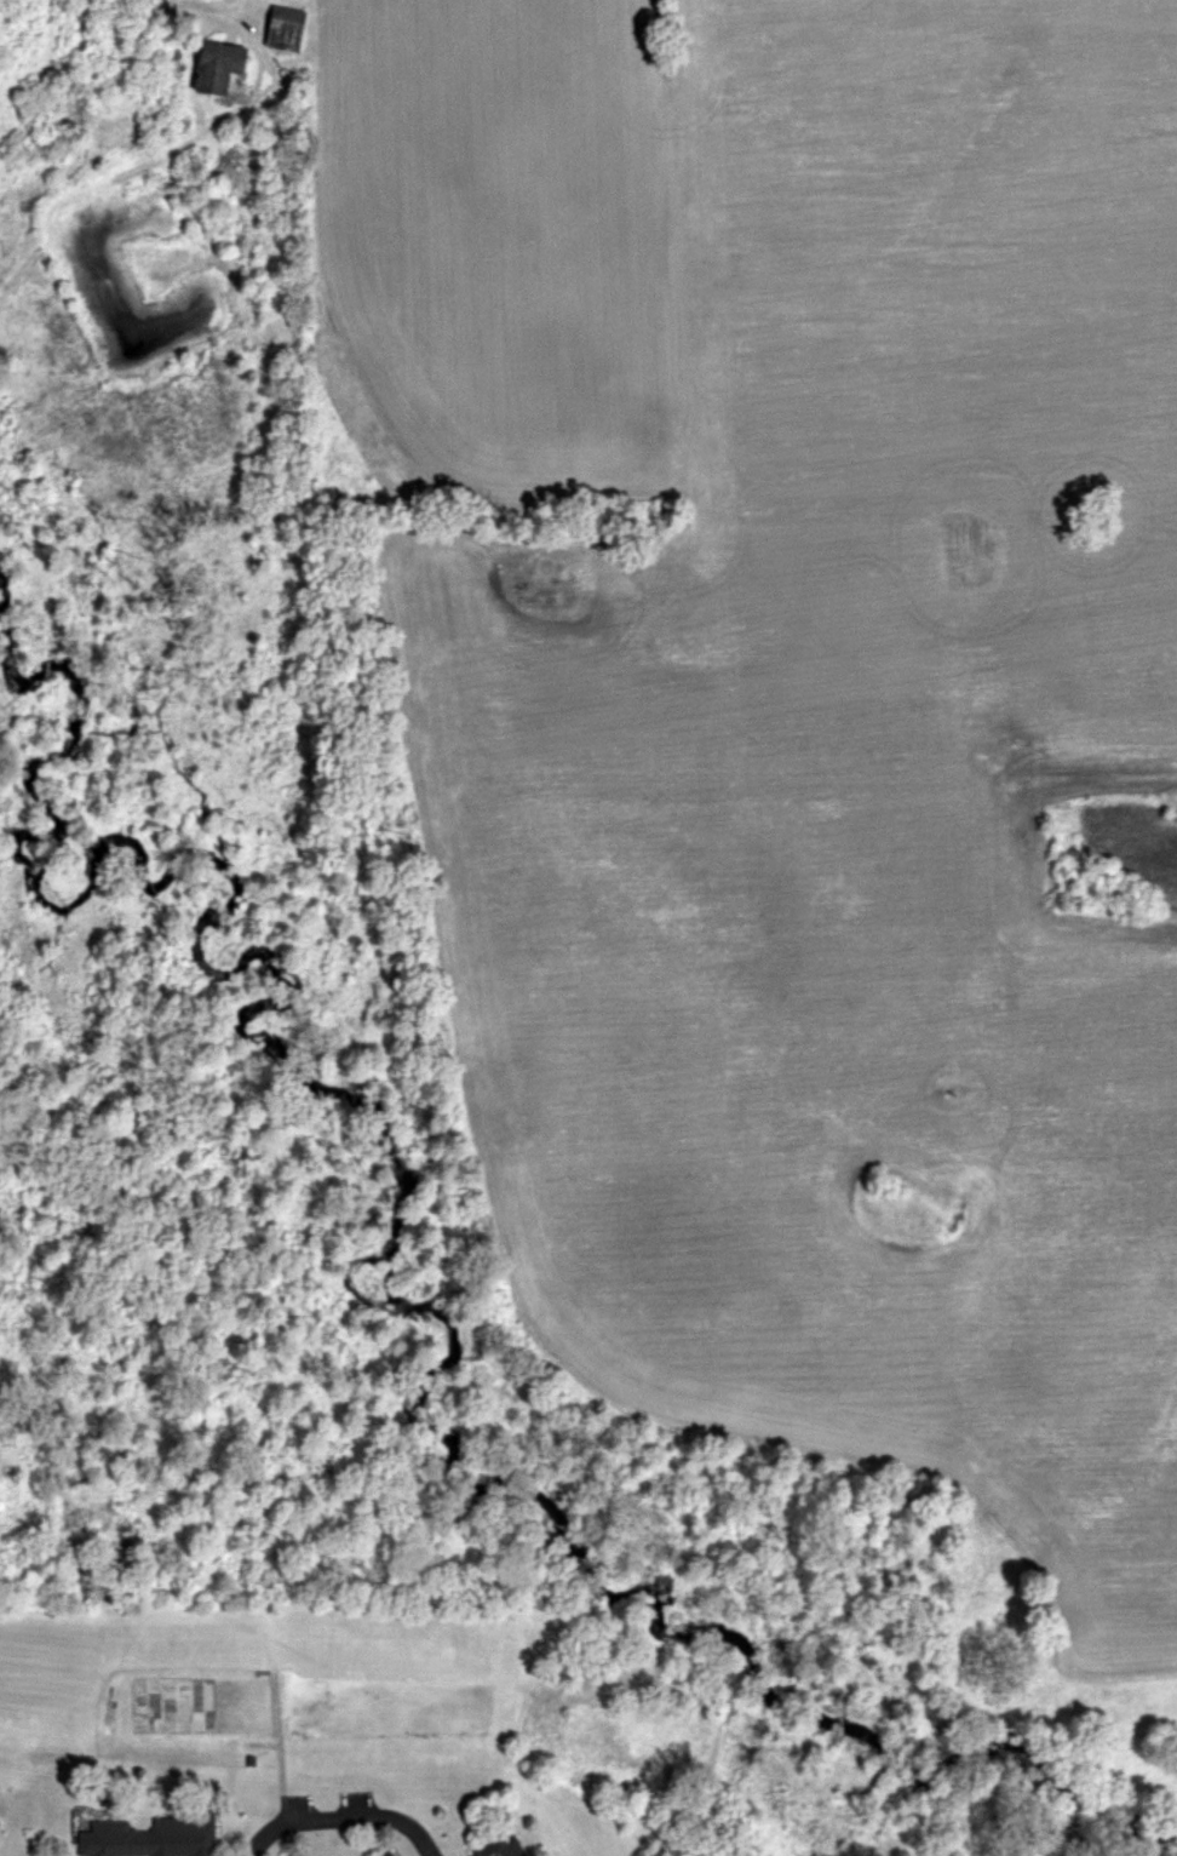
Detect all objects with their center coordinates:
road: (203, 8)
building: (288, 28)
building: (222, 65)
road: (343, 1815)
building: (0, 1822)
building: (160, 1837)
building: (504, 1846)
building: (394, 1854)

